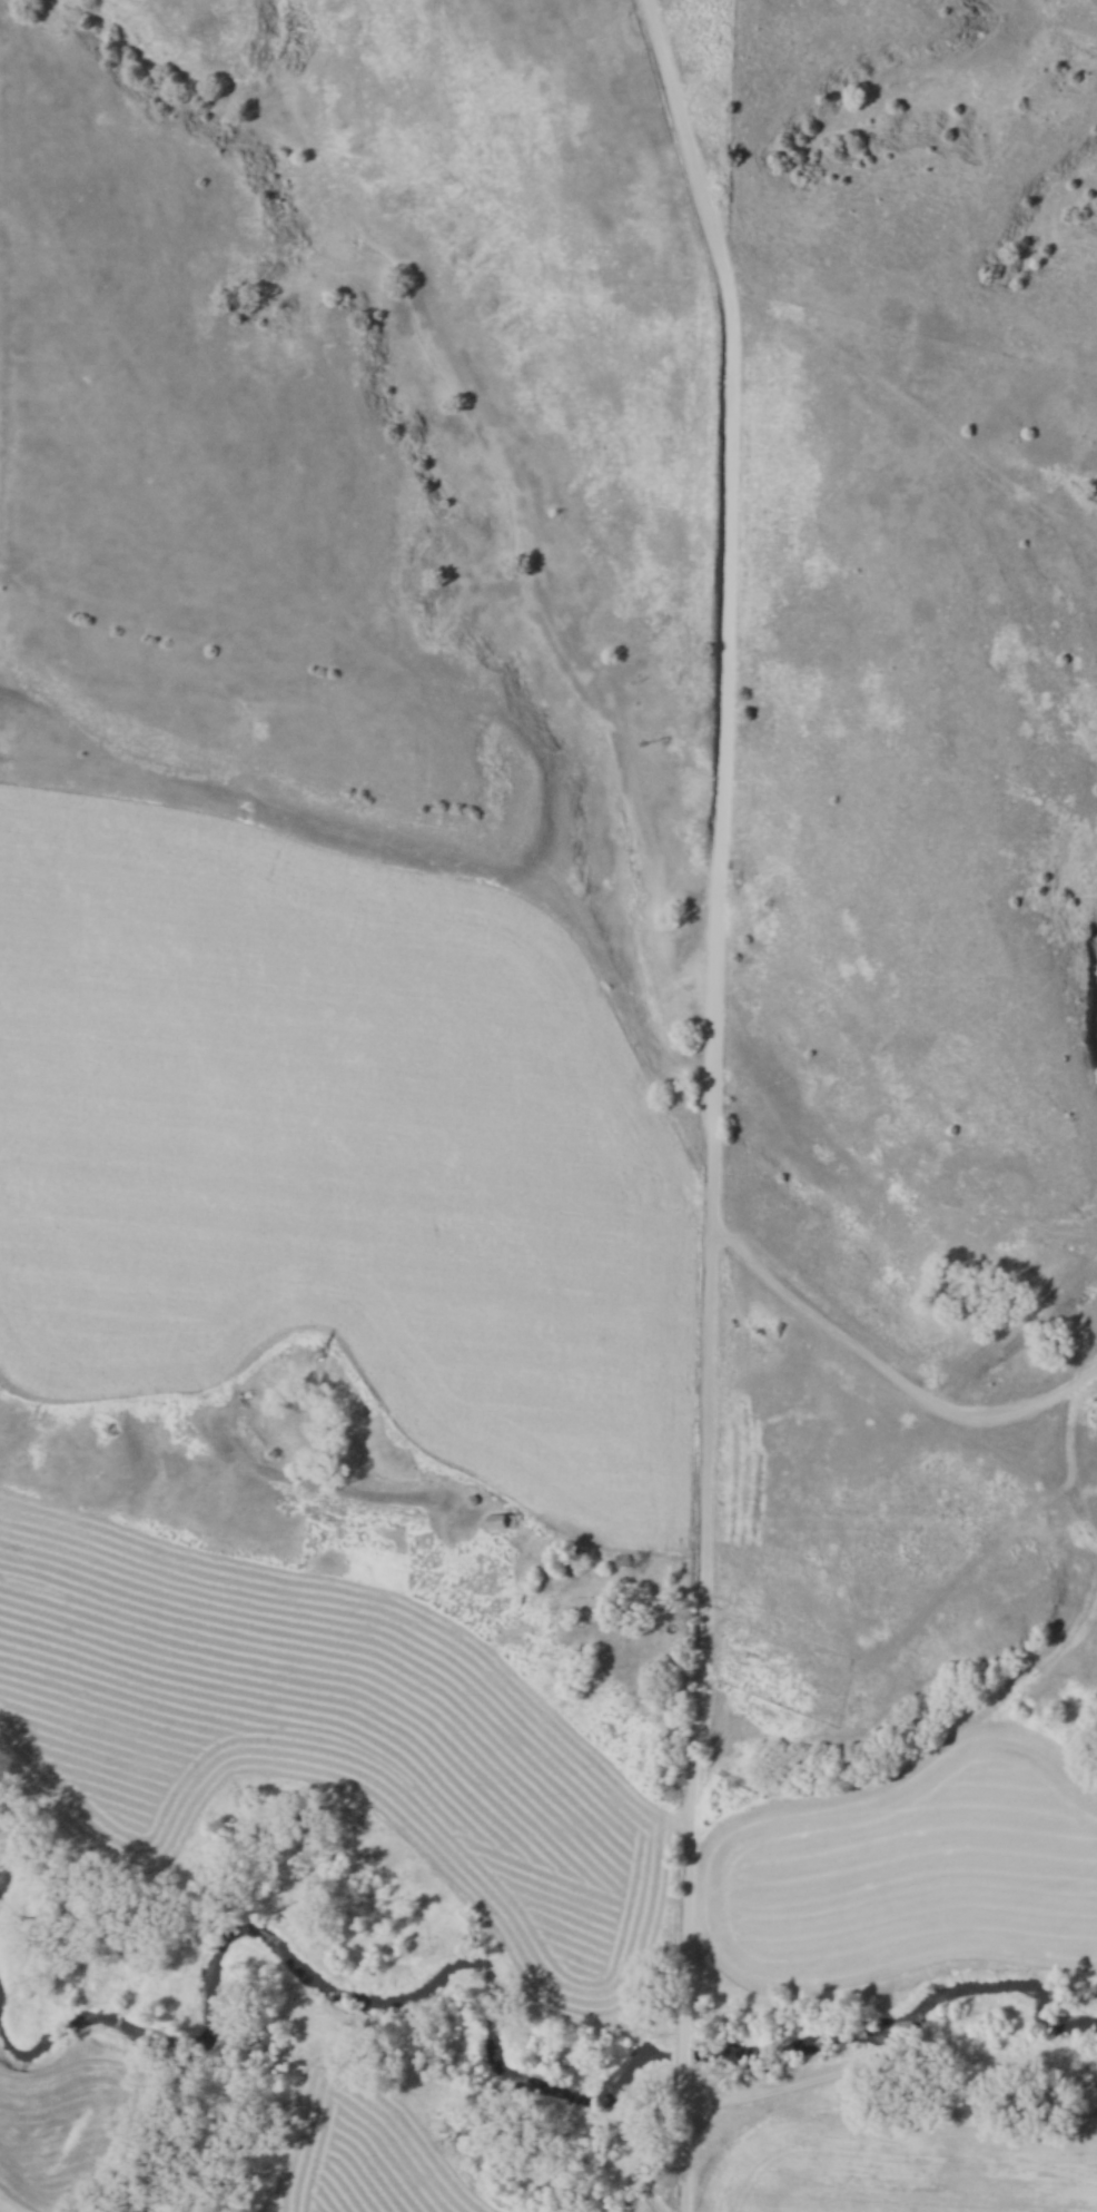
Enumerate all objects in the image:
crop: (337, 1151)
crop: (1096, 1410)
building: (498, 1521)
building: (586, 1607)
crop: (926, 1869)

